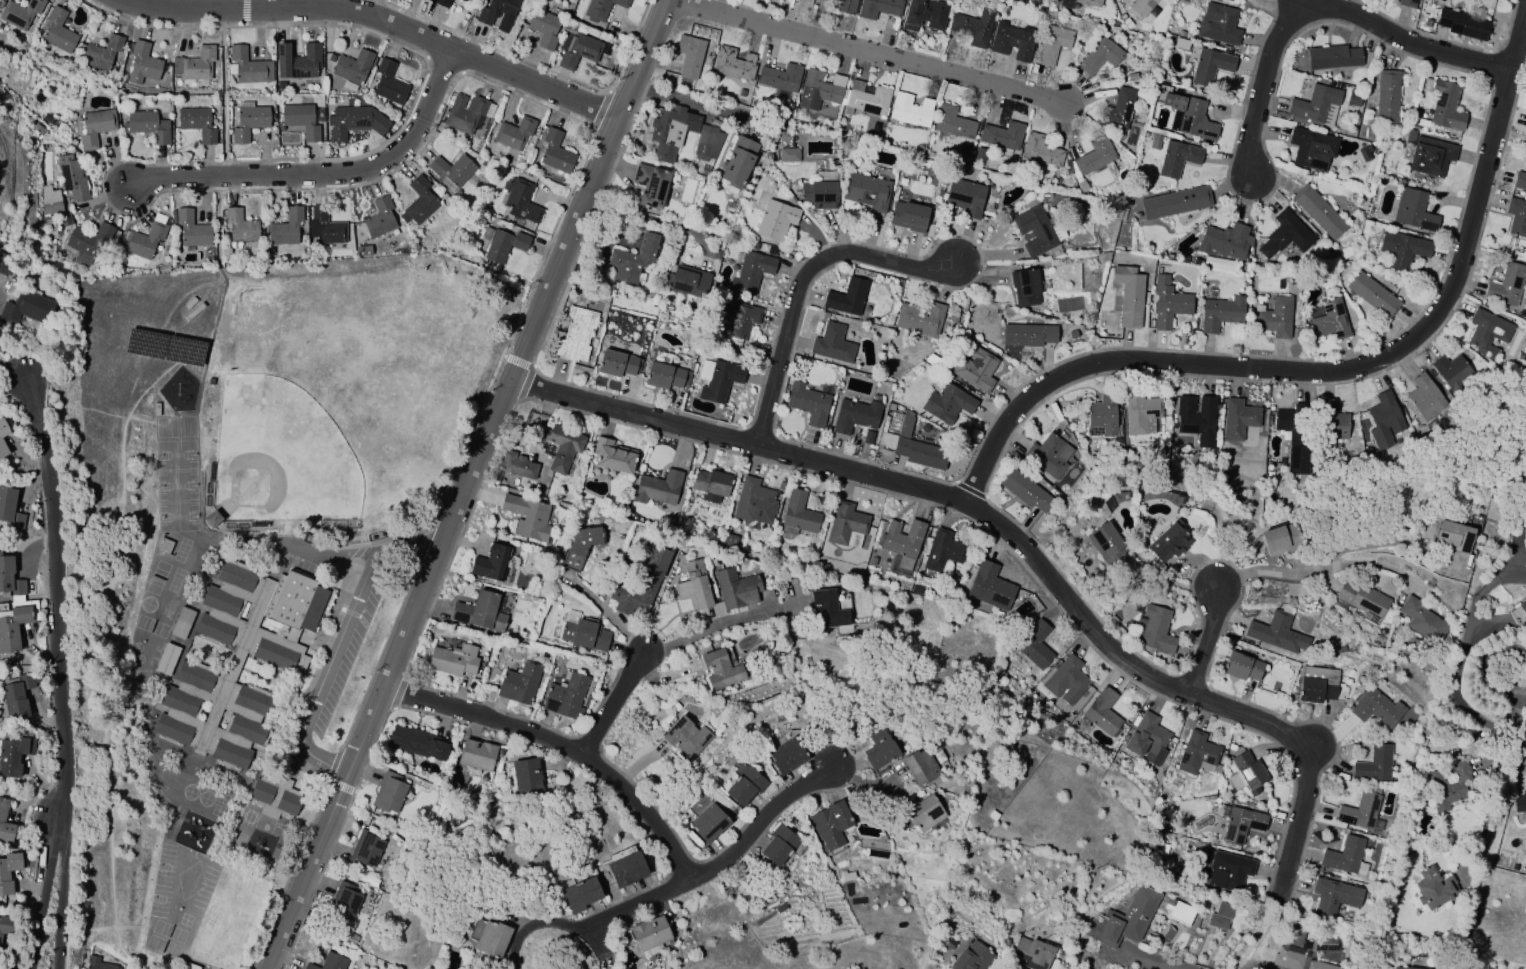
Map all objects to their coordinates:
building: (756, 0)
building: (1051, 0)
building: (465, 1)
building: (1019, 1)
building: (1407, 3)
building: (444, 4)
building: (1079, 4)
road: (247, 5)
building: (845, 6)
building: (879, 8)
building: (602, 9)
building: (1145, 9)
building: (498, 10)
road: (1324, 12)
building: (924, 14)
building: (22, 15)
building: (1071, 19)
road: (378, 23)
building: (1464, 24)
building: (1218, 25)
building: (973, 27)
building: (545, 29)
building: (59, 33)
building: (1013, 41)
building: (1052, 44)
building: (1181, 44)
building: (579, 51)
road: (869, 51)
building: (689, 55)
building: (1101, 55)
building: (103, 56)
building: (1333, 57)
building: (299, 63)
building: (734, 64)
building: (143, 65)
building: (1210, 65)
building: (198, 66)
building: (249, 68)
building: (354, 68)
building: (780, 77)
building: (388, 85)
building: (819, 90)
road: (226, 95)
building: (1386, 96)
building: (866, 99)
road: (680, 101)
building: (1446, 106)
building: (1315, 107)
building: (911, 110)
building: (1118, 110)
building: (466, 114)
building: (1189, 116)
building: (303, 119)
building: (250, 122)
building: (197, 123)
building: (356, 123)
building: (953, 123)
building: (95, 127)
building: (148, 127)
building: (39, 130)
building: (667, 132)
building: (515, 135)
building: (1002, 137)
building: (1155, 141)
building: (708, 144)
building: (1312, 148)
building: (1039, 152)
building: (555, 153)
building: (1364, 153)
building: (789, 155)
building: (1094, 155)
building: (1431, 156)
building: (1177, 158)
building: (739, 162)
building: (453, 172)
road: (323, 177)
building: (73, 180)
building: (1519, 181)
building: (652, 187)
building: (867, 193)
building: (818, 194)
building: (966, 198)
building: (422, 201)
building: (1175, 201)
building: (50, 202)
building: (522, 204)
building: (1414, 209)
building: (1318, 211)
building: (1517, 217)
building: (909, 218)
building: (381, 219)
building: (65, 220)
road: (218, 220)
building: (776, 221)
building: (241, 228)
building: (325, 228)
building: (287, 229)
building: (192, 230)
building: (1035, 232)
building: (1284, 235)
building: (147, 240)
building: (1225, 241)
building: (88, 244)
building: (502, 245)
building: (1402, 249)
building: (363, 250)
building: (634, 261)
building: (5, 264)
building: (751, 273)
building: (690, 282)
road: (806, 285)
building: (1506, 285)
building: (1026, 289)
building: (1372, 294)
building: (1129, 296)
building: (848, 299)
building: (1169, 303)
building: (25, 308)
building: (1220, 313)
building: (1275, 317)
building: (738, 319)
building: (1330, 319)
building: (921, 320)
building: (1487, 332)
building: (577, 336)
building: (1030, 337)
building: (833, 345)
building: (618, 365)
road: (1330, 370)
building: (977, 371)
road: (11, 372)
building: (1454, 373)
building: (665, 377)
building: (718, 381)
building: (1425, 397)
building: (809, 405)
building: (951, 405)
building: (1141, 413)
building: (856, 417)
building: (1102, 417)
building: (1196, 417)
building: (1239, 419)
building: (1384, 421)
building: (1331, 427)
building: (2, 430)
building: (889, 430)
building: (1294, 436)
building: (563, 446)
building: (914, 449)
building: (2, 452)
building: (613, 455)
building: (1047, 455)
building: (517, 466)
building: (711, 485)
road: (473, 486)
building: (657, 487)
building: (1026, 492)
building: (1162, 497)
building: (754, 502)
building: (9, 511)
building: (798, 514)
building: (527, 517)
building: (211, 519)
building: (847, 525)
building: (1452, 537)
building: (1279, 539)
building: (729, 540)
building: (1169, 541)
building: (902, 542)
road: (1020, 542)
building: (1106, 543)
road: (1386, 543)
building: (163, 545)
building: (581, 546)
building: (943, 551)
road: (412, 552)
road: (319, 554)
building: (872, 561)
building: (711, 562)
building: (490, 563)
road: (1320, 572)
building: (9, 579)
building: (651, 579)
building: (694, 586)
building: (990, 586)
building: (736, 588)
building: (916, 590)
building: (1361, 600)
road: (57, 604)
building: (1523, 608)
building: (827, 609)
building: (480, 611)
road: (609, 614)
building: (997, 614)
building: (1423, 620)
building: (181, 623)
building: (15, 625)
road: (710, 626)
building: (1153, 629)
building: (1278, 632)
building: (585, 634)
building: (1034, 645)
road: (1206, 645)
building: (166, 659)
building: (453, 660)
building: (238, 661)
building: (1241, 666)
building: (721, 669)
road: (328, 675)
building: (1067, 680)
building: (519, 684)
building: (1319, 685)
building: (565, 696)
building: (15, 697)
road: (611, 704)
building: (1376, 708)
building: (1102, 711)
road: (1522, 733)
building: (686, 738)
building: (1147, 739)
building: (417, 742)
road: (566, 746)
building: (878, 750)
building: (1196, 753)
building: (476, 755)
building: (786, 755)
building: (13, 757)
building: (1374, 764)
building: (920, 767)
building: (1246, 773)
building: (526, 776)
building: (1448, 784)
building: (746, 786)
building: (389, 792)
building: (274, 797)
building: (1519, 802)
building: (1361, 809)
building: (2, 813)
building: (923, 814)
building: (992, 815)
building: (707, 819)
building: (832, 825)
building: (1241, 825)
building: (693, 838)
building: (778, 845)
building: (365, 850)
building: (1404, 853)
building: (1345, 857)
building: (626, 869)
building: (8, 871)
building: (1229, 871)
building: (847, 876)
building: (364, 878)
road: (683, 887)
building: (1433, 888)
building: (580, 895)
building: (1334, 896)
road: (43, 899)
road: (61, 901)
building: (344, 901)
building: (1181, 913)
building: (1221, 916)
building: (1125, 919)
building: (6, 925)
building: (649, 934)
building: (489, 937)
building: (1303, 950)
building: (1030, 953)
building: (971, 957)
road: (1160, 960)
building: (329, 962)
building: (98, 964)
road: (1249, 965)
building: (190, 966)
building: (539, 968)
building: (1405, 968)

